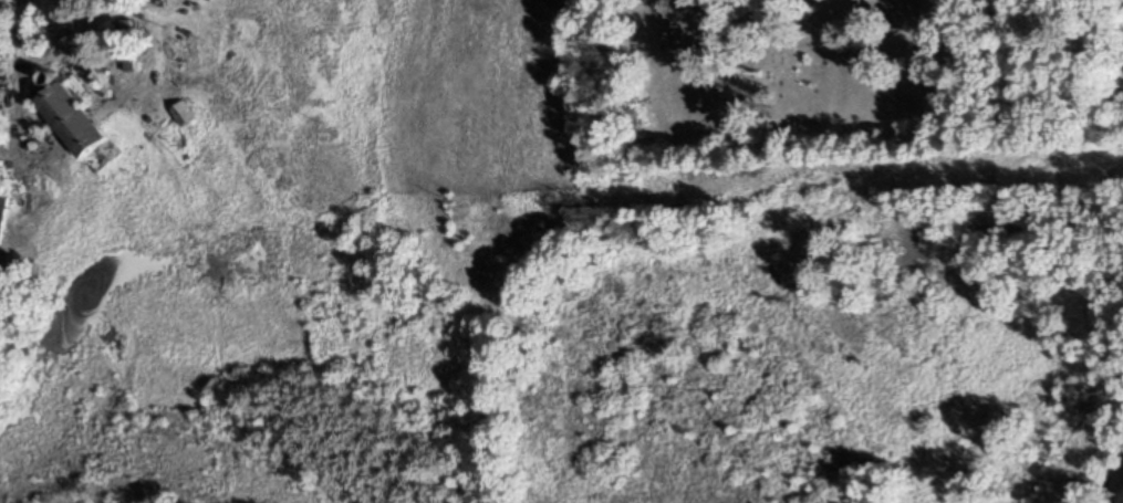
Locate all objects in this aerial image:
building: (126, 61)
building: (180, 114)
building: (74, 127)
road: (1083, 239)

